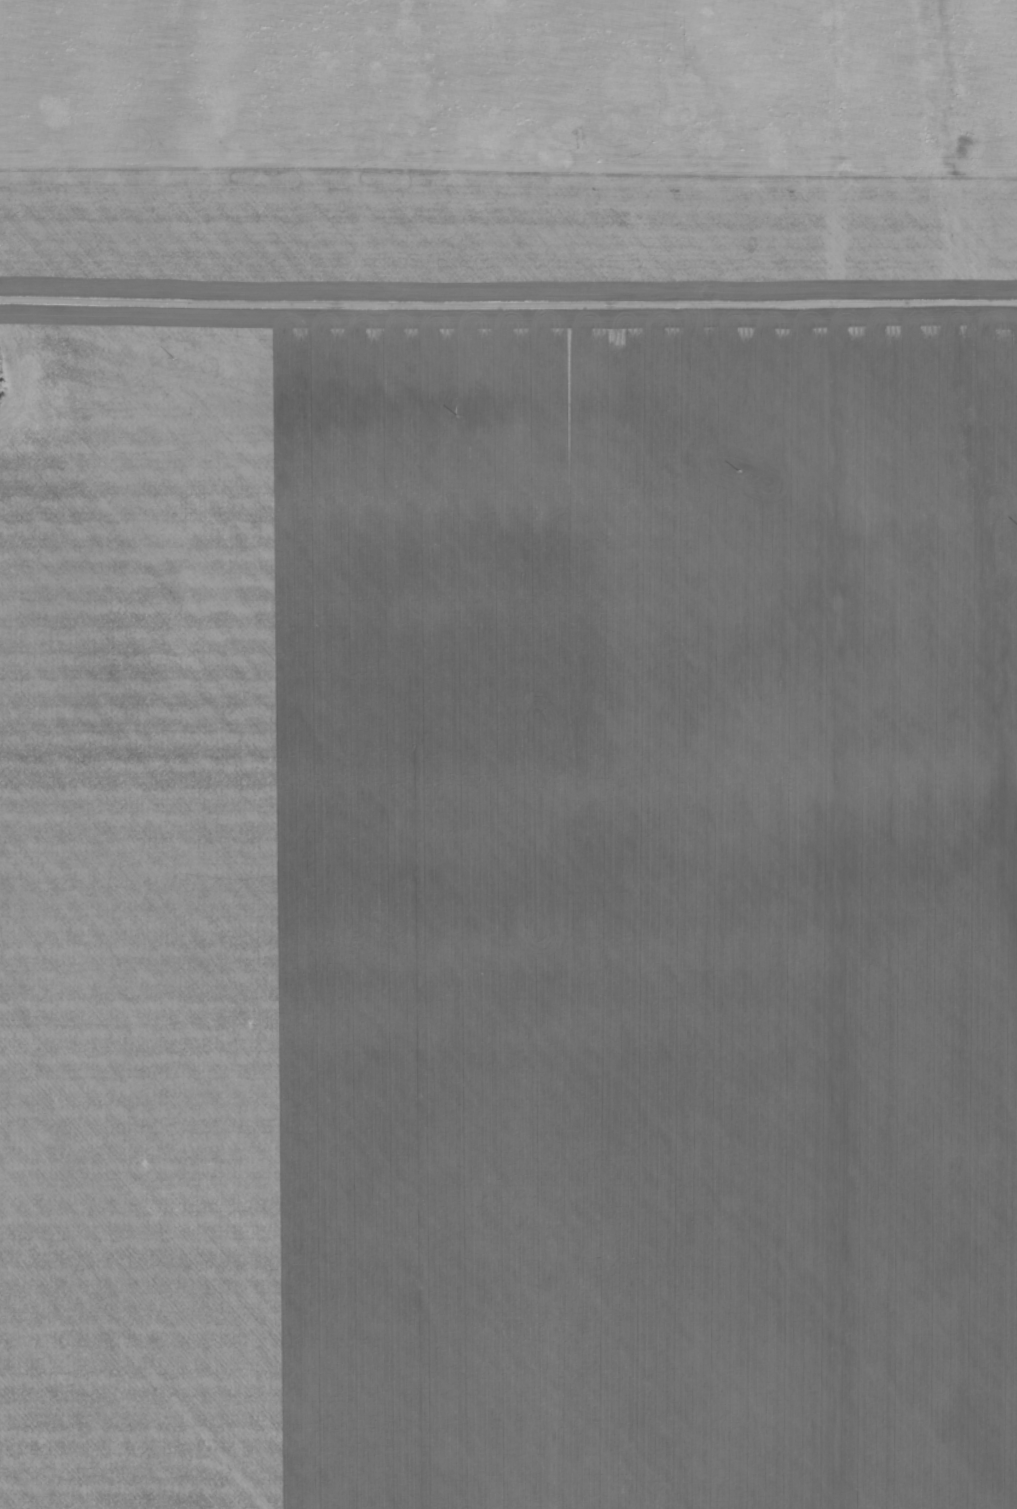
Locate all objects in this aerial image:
road: (508, 306)

